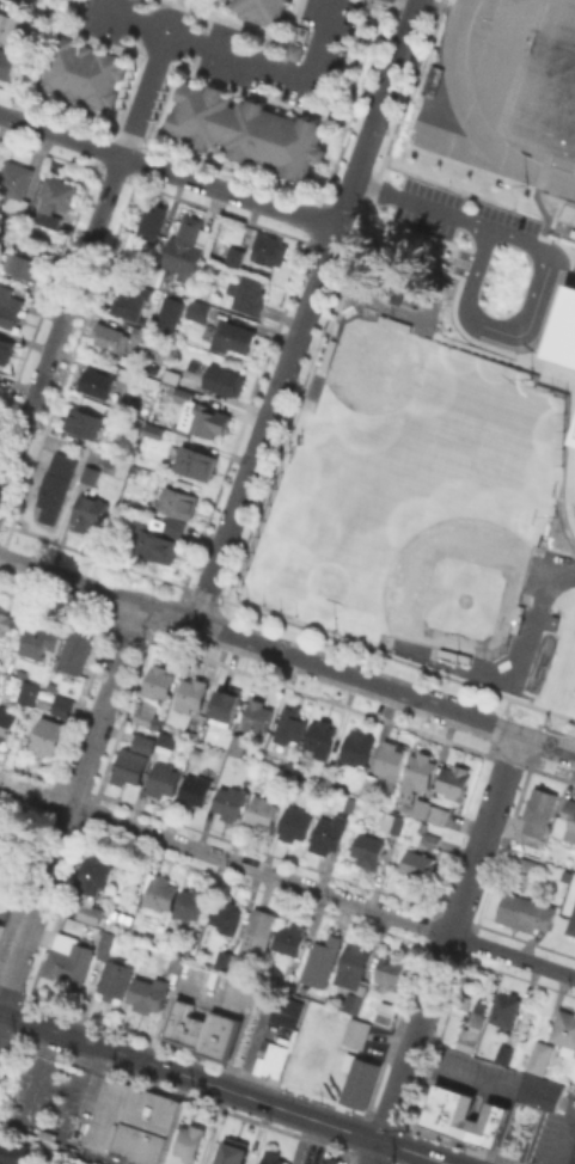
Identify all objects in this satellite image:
road: (417, 0)
building: (25, 1)
building: (259, 8)
building: (39, 16)
road: (127, 20)
building: (11, 26)
road: (215, 49)
building: (292, 50)
building: (7, 62)
park: (550, 66)
building: (79, 72)
stadium: (525, 75)
building: (428, 80)
park: (543, 82)
track: (476, 118)
building: (244, 127)
track: (573, 166)
road: (169, 171)
building: (14, 191)
building: (53, 201)
road: (424, 202)
building: (567, 215)
building: (152, 220)
building: (571, 231)
building: (185, 247)
building: (265, 250)
building: (234, 256)
road: (562, 261)
building: (23, 265)
park: (365, 288)
building: (409, 292)
building: (247, 294)
building: (394, 296)
building: (406, 299)
building: (133, 300)
road: (470, 300)
building: (8, 306)
building: (198, 310)
building: (167, 311)
road: (307, 312)
building: (393, 321)
road: (60, 323)
building: (562, 330)
building: (143, 333)
building: (230, 335)
building: (111, 336)
building: (6, 349)
building: (326, 353)
building: (170, 378)
building: (222, 379)
park: (379, 380)
building: (188, 381)
building: (0, 382)
building: (98, 382)
park: (312, 386)
building: (202, 415)
building: (84, 421)
building: (152, 430)
building: (571, 434)
building: (196, 461)
building: (90, 473)
building: (56, 483)
building: (178, 502)
building: (88, 511)
building: (175, 526)
building: (157, 545)
park: (447, 566)
park: (528, 575)
building: (515, 618)
building: (551, 620)
building: (7, 621)
building: (38, 639)
park: (405, 645)
building: (75, 651)
building: (453, 654)
road: (287, 655)
park: (537, 661)
building: (159, 681)
building: (22, 688)
building: (191, 696)
building: (62, 705)
building: (226, 705)
building: (145, 716)
building: (256, 716)
building: (6, 722)
building: (290, 725)
building: (49, 735)
building: (319, 739)
building: (141, 742)
building: (164, 742)
building: (238, 743)
building: (359, 747)
building: (196, 752)
building: (392, 761)
building: (130, 765)
building: (420, 772)
building: (263, 773)
building: (164, 778)
building: (369, 780)
building: (454, 780)
building: (295, 783)
building: (196, 789)
building: (353, 798)
building: (231, 801)
road: (69, 809)
building: (405, 809)
building: (430, 810)
building: (262, 811)
building: (539, 815)
building: (294, 822)
building: (393, 822)
building: (573, 822)
building: (329, 832)
building: (428, 834)
road: (484, 834)
building: (8, 840)
building: (369, 850)
building: (417, 863)
building: (527, 870)
building: (94, 872)
building: (2, 877)
road: (287, 880)
building: (160, 890)
building: (190, 903)
building: (525, 912)
building: (92, 913)
building: (226, 915)
building: (116, 919)
building: (0, 924)
building: (571, 924)
building: (77, 927)
building: (258, 935)
building: (108, 938)
building: (292, 938)
building: (227, 958)
building: (323, 961)
building: (355, 961)
building: (69, 962)
building: (177, 962)
building: (391, 970)
building: (115, 976)
building: (148, 993)
building: (354, 1003)
building: (389, 1006)
building: (482, 1007)
building: (283, 1010)
building: (504, 1010)
building: (385, 1017)
building: (186, 1027)
building: (357, 1031)
building: (471, 1033)
parking lot: (259, 1035)
building: (221, 1037)
building: (557, 1040)
road: (411, 1049)
building: (504, 1053)
building: (273, 1059)
building: (359, 1079)
road: (224, 1088)
building: (540, 1089)
building: (466, 1113)
building: (131, 1120)
building: (524, 1129)
building: (189, 1141)
road: (562, 1141)
building: (16, 1151)
building: (233, 1151)
building: (273, 1157)
building: (334, 1159)

